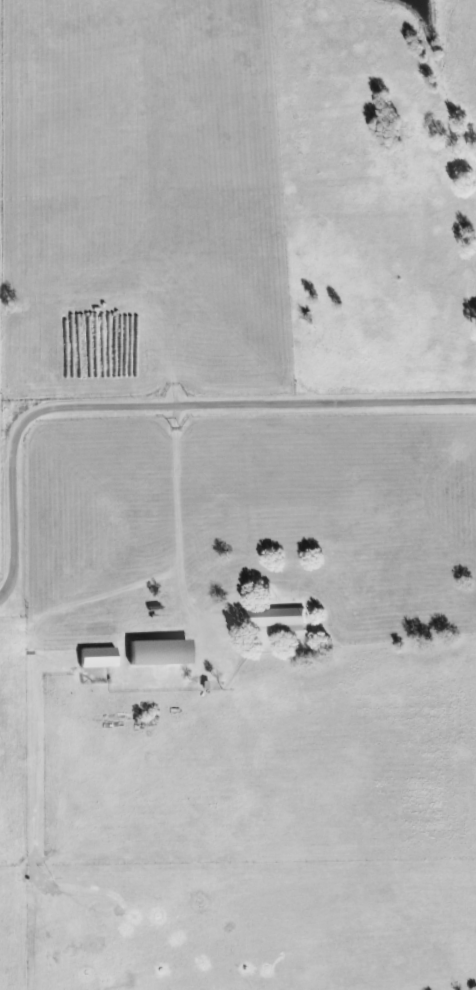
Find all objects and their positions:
road: (173, 369)
road: (156, 407)
road: (426, 490)
building: (280, 618)
building: (162, 653)
building: (100, 658)

